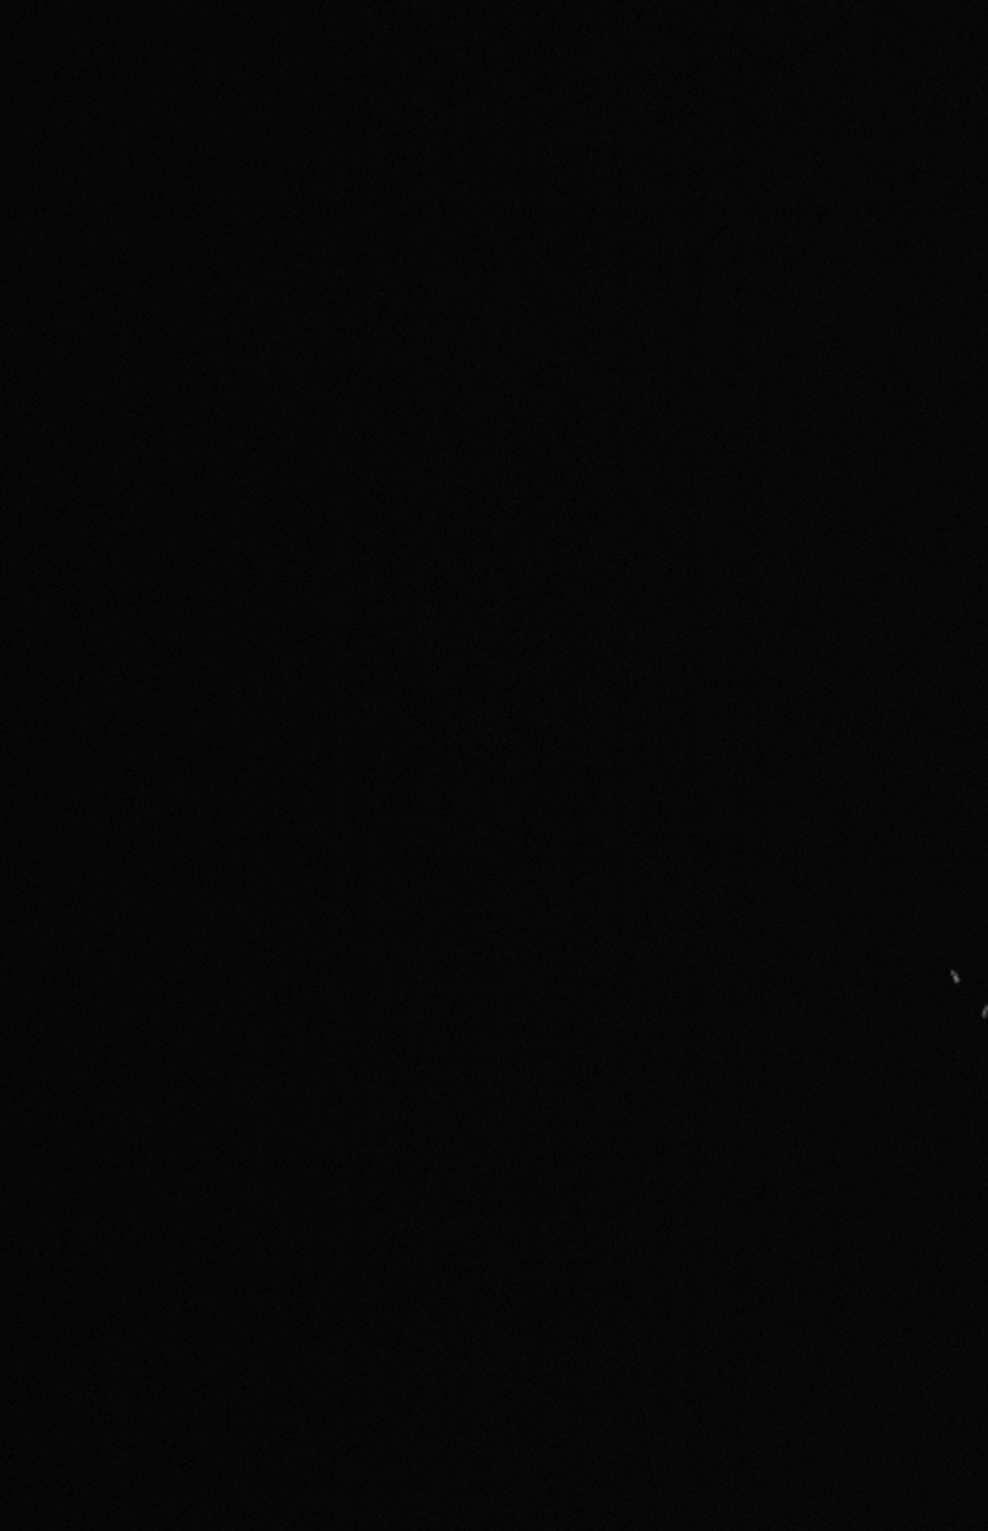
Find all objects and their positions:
river: (557, 1275)

